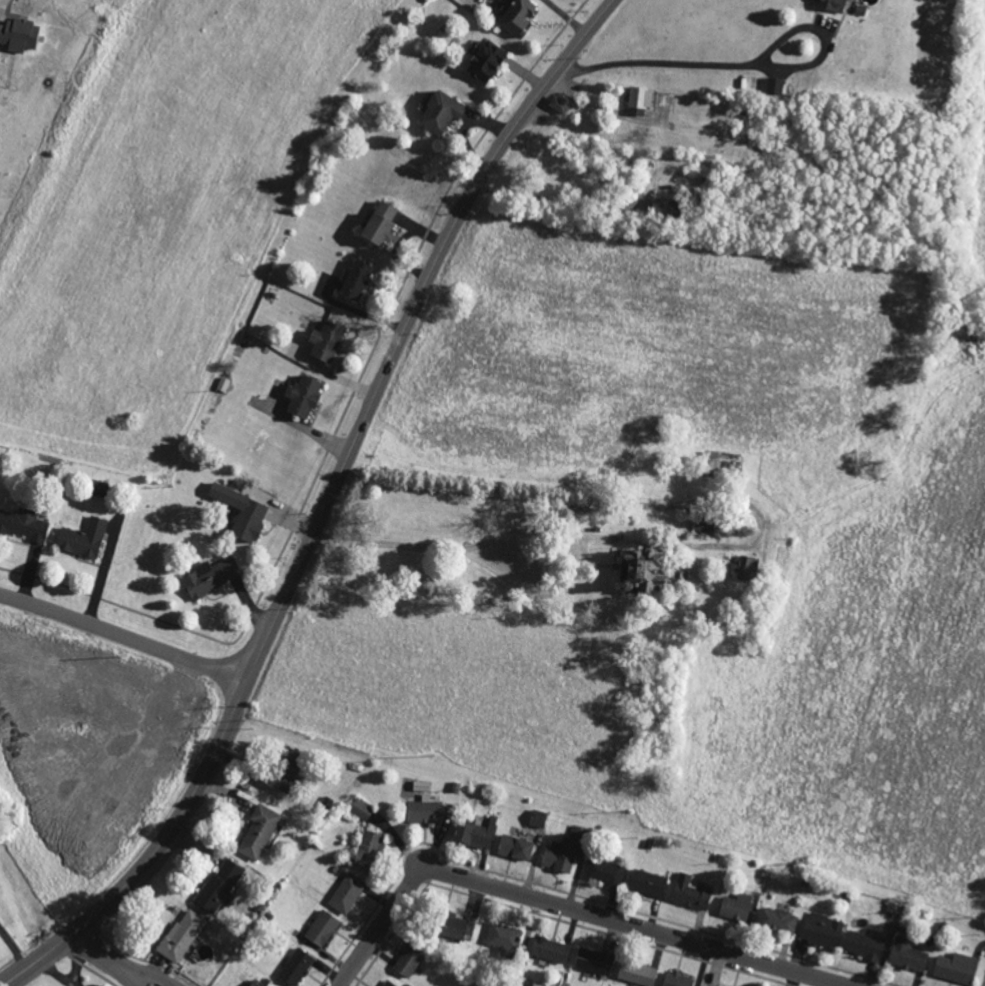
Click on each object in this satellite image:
building: (830, 5)
building: (516, 16)
building: (484, 61)
road: (745, 66)
building: (774, 86)
building: (639, 100)
building: (558, 105)
road: (602, 110)
building: (439, 112)
building: (662, 208)
building: (378, 223)
building: (355, 280)
building: (325, 341)
building: (302, 397)
road: (325, 508)
building: (241, 511)
building: (23, 523)
building: (704, 524)
building: (82, 538)
building: (744, 567)
building: (638, 568)
building: (679, 571)
building: (209, 576)
road: (125, 634)
building: (283, 768)
building: (361, 808)
building: (423, 811)
building: (537, 818)
building: (258, 832)
building: (474, 833)
building: (514, 847)
building: (368, 849)
building: (563, 851)
building: (603, 871)
building: (646, 882)
building: (220, 886)
building: (690, 891)
building: (346, 892)
road: (570, 906)
building: (735, 906)
building: (777, 919)
building: (450, 924)
building: (321, 928)
building: (822, 929)
building: (181, 935)
building: (503, 938)
building: (864, 945)
building: (549, 949)
building: (907, 954)
building: (593, 960)
building: (407, 961)
road: (121, 964)
building: (295, 966)
building: (955, 967)
building: (636, 973)
road: (136, 978)
building: (676, 979)
building: (256, 983)
building: (388, 983)
building: (709, 985)

